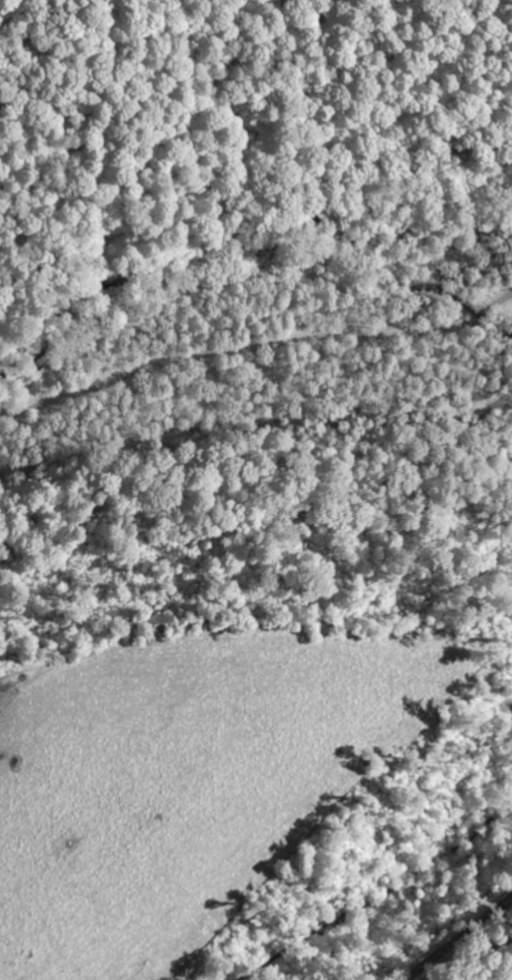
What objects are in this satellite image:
road: (460, 940)

